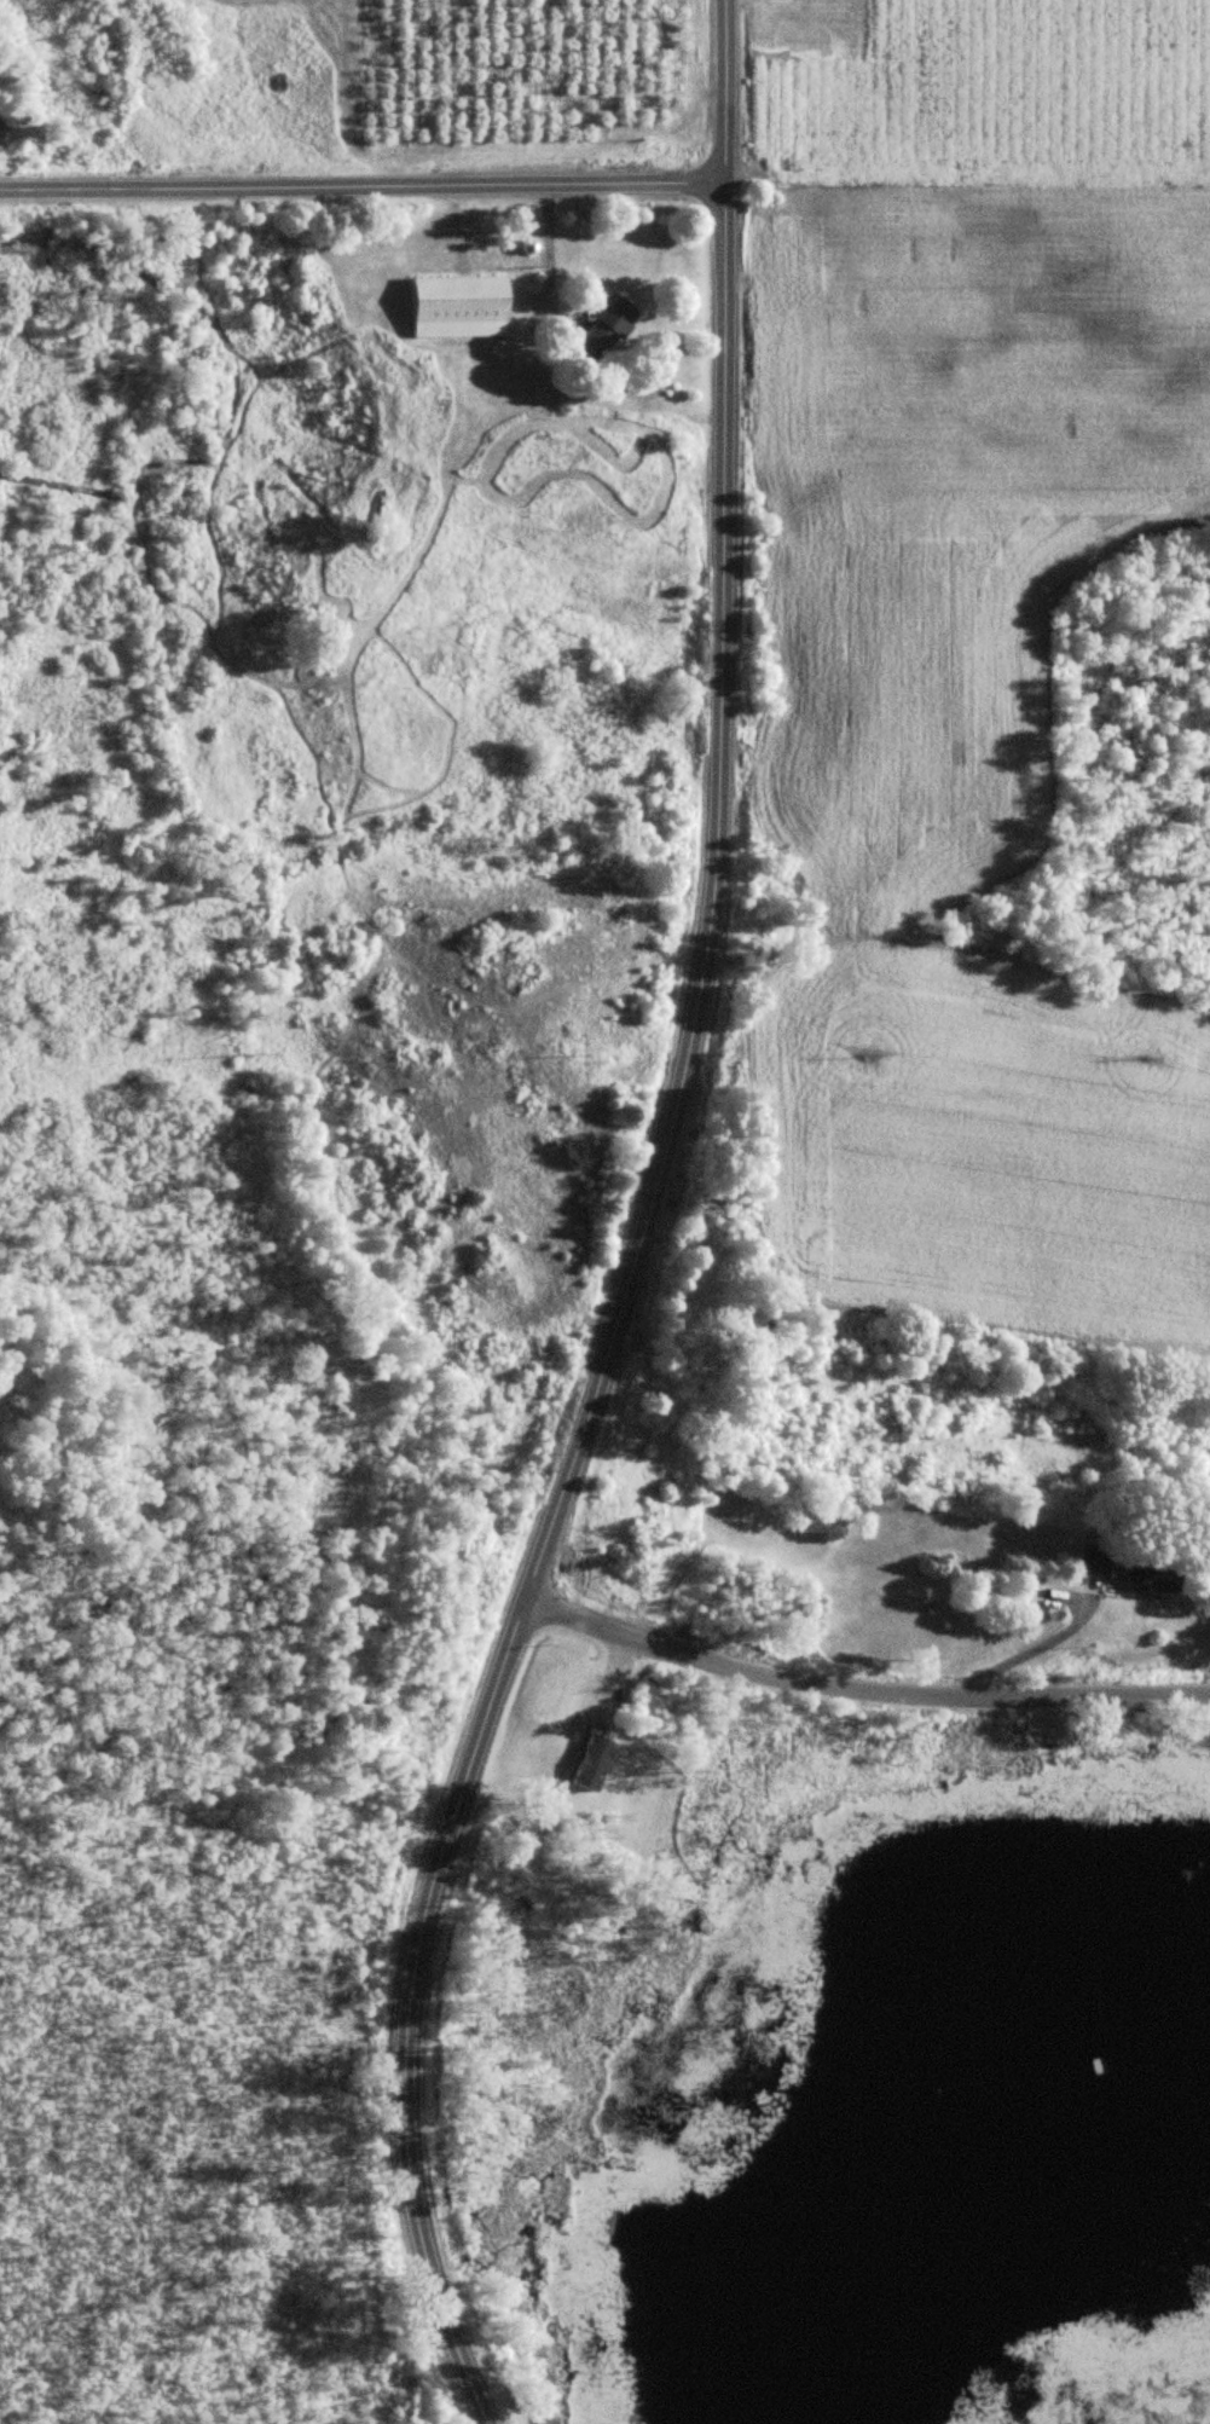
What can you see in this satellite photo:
road: (364, 187)
road: (545, 258)
building: (459, 307)
building: (603, 329)
road: (645, 1232)
building: (1095, 1561)
building: (1152, 1574)
road: (1025, 1653)
road: (862, 1691)
building: (594, 1763)

